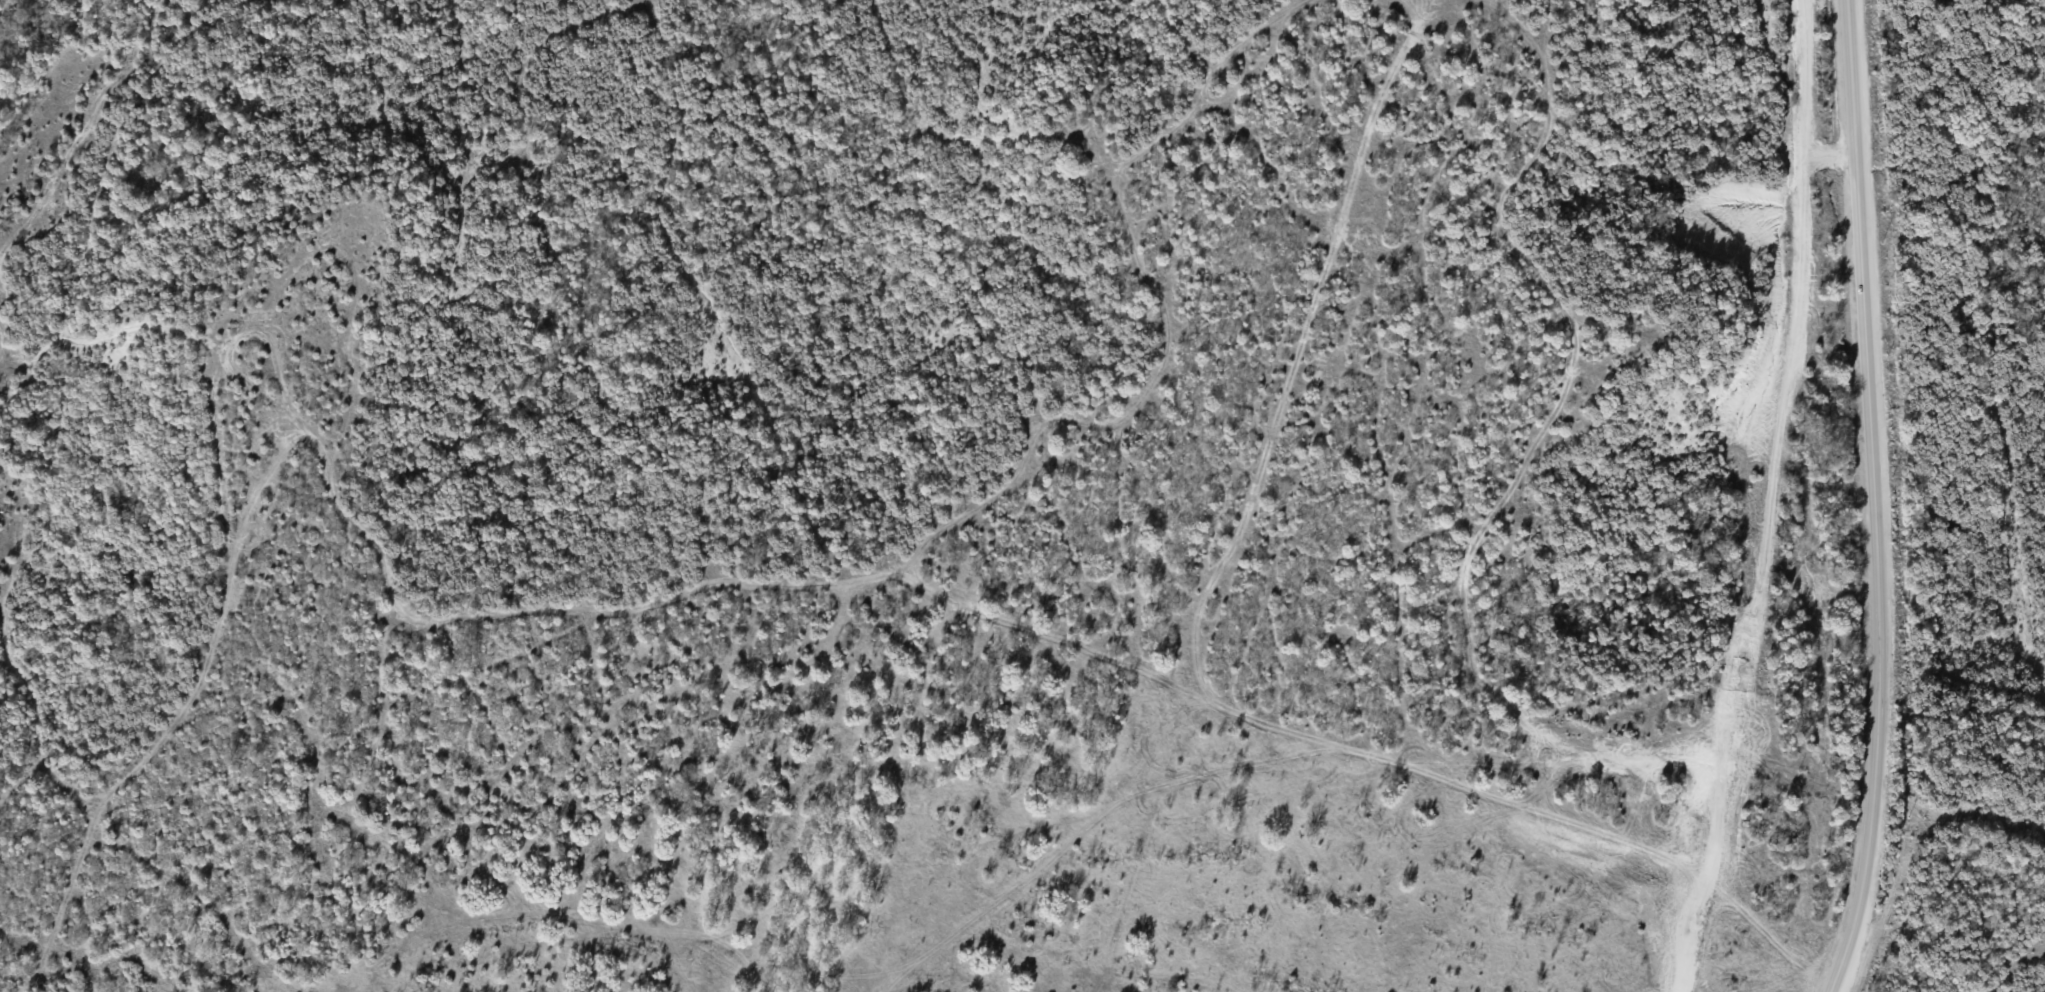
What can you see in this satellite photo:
road: (1873, 498)
road: (1773, 499)

